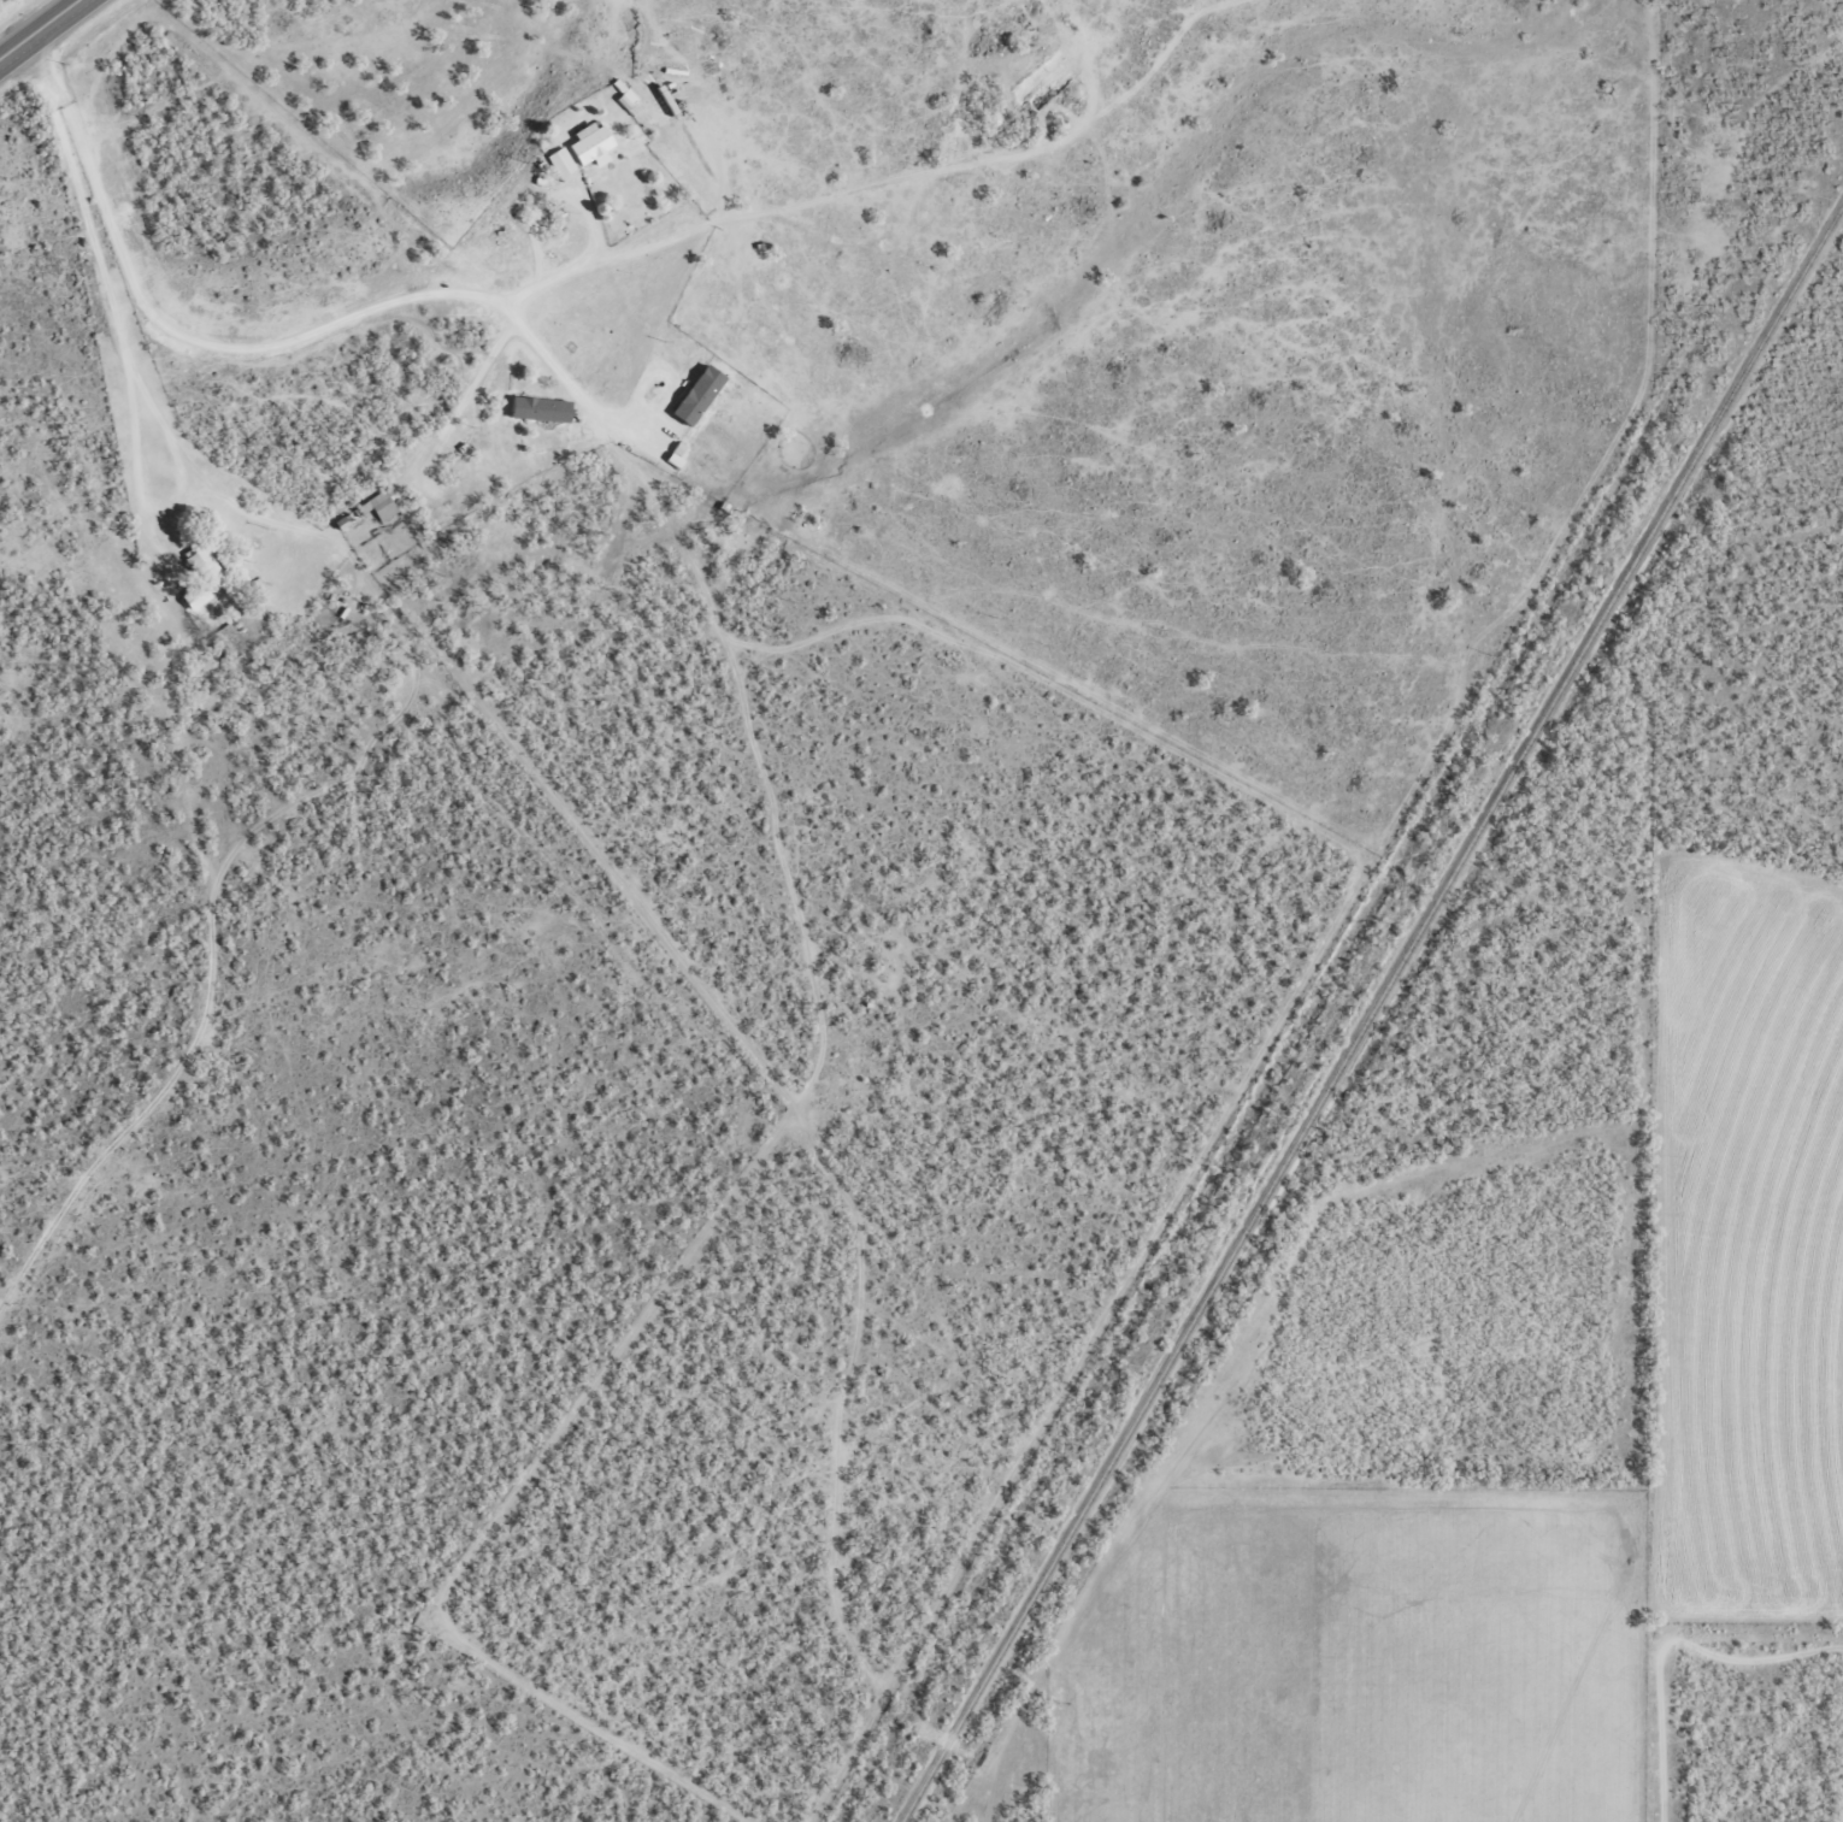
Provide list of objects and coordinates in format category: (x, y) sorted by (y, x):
road: (53, 42)
building: (587, 143)
building: (558, 161)
building: (693, 395)
building: (535, 408)
building: (672, 454)
building: (379, 506)
building: (198, 577)
road: (720, 602)
railway: (1370, 1010)
road: (995, 1799)

